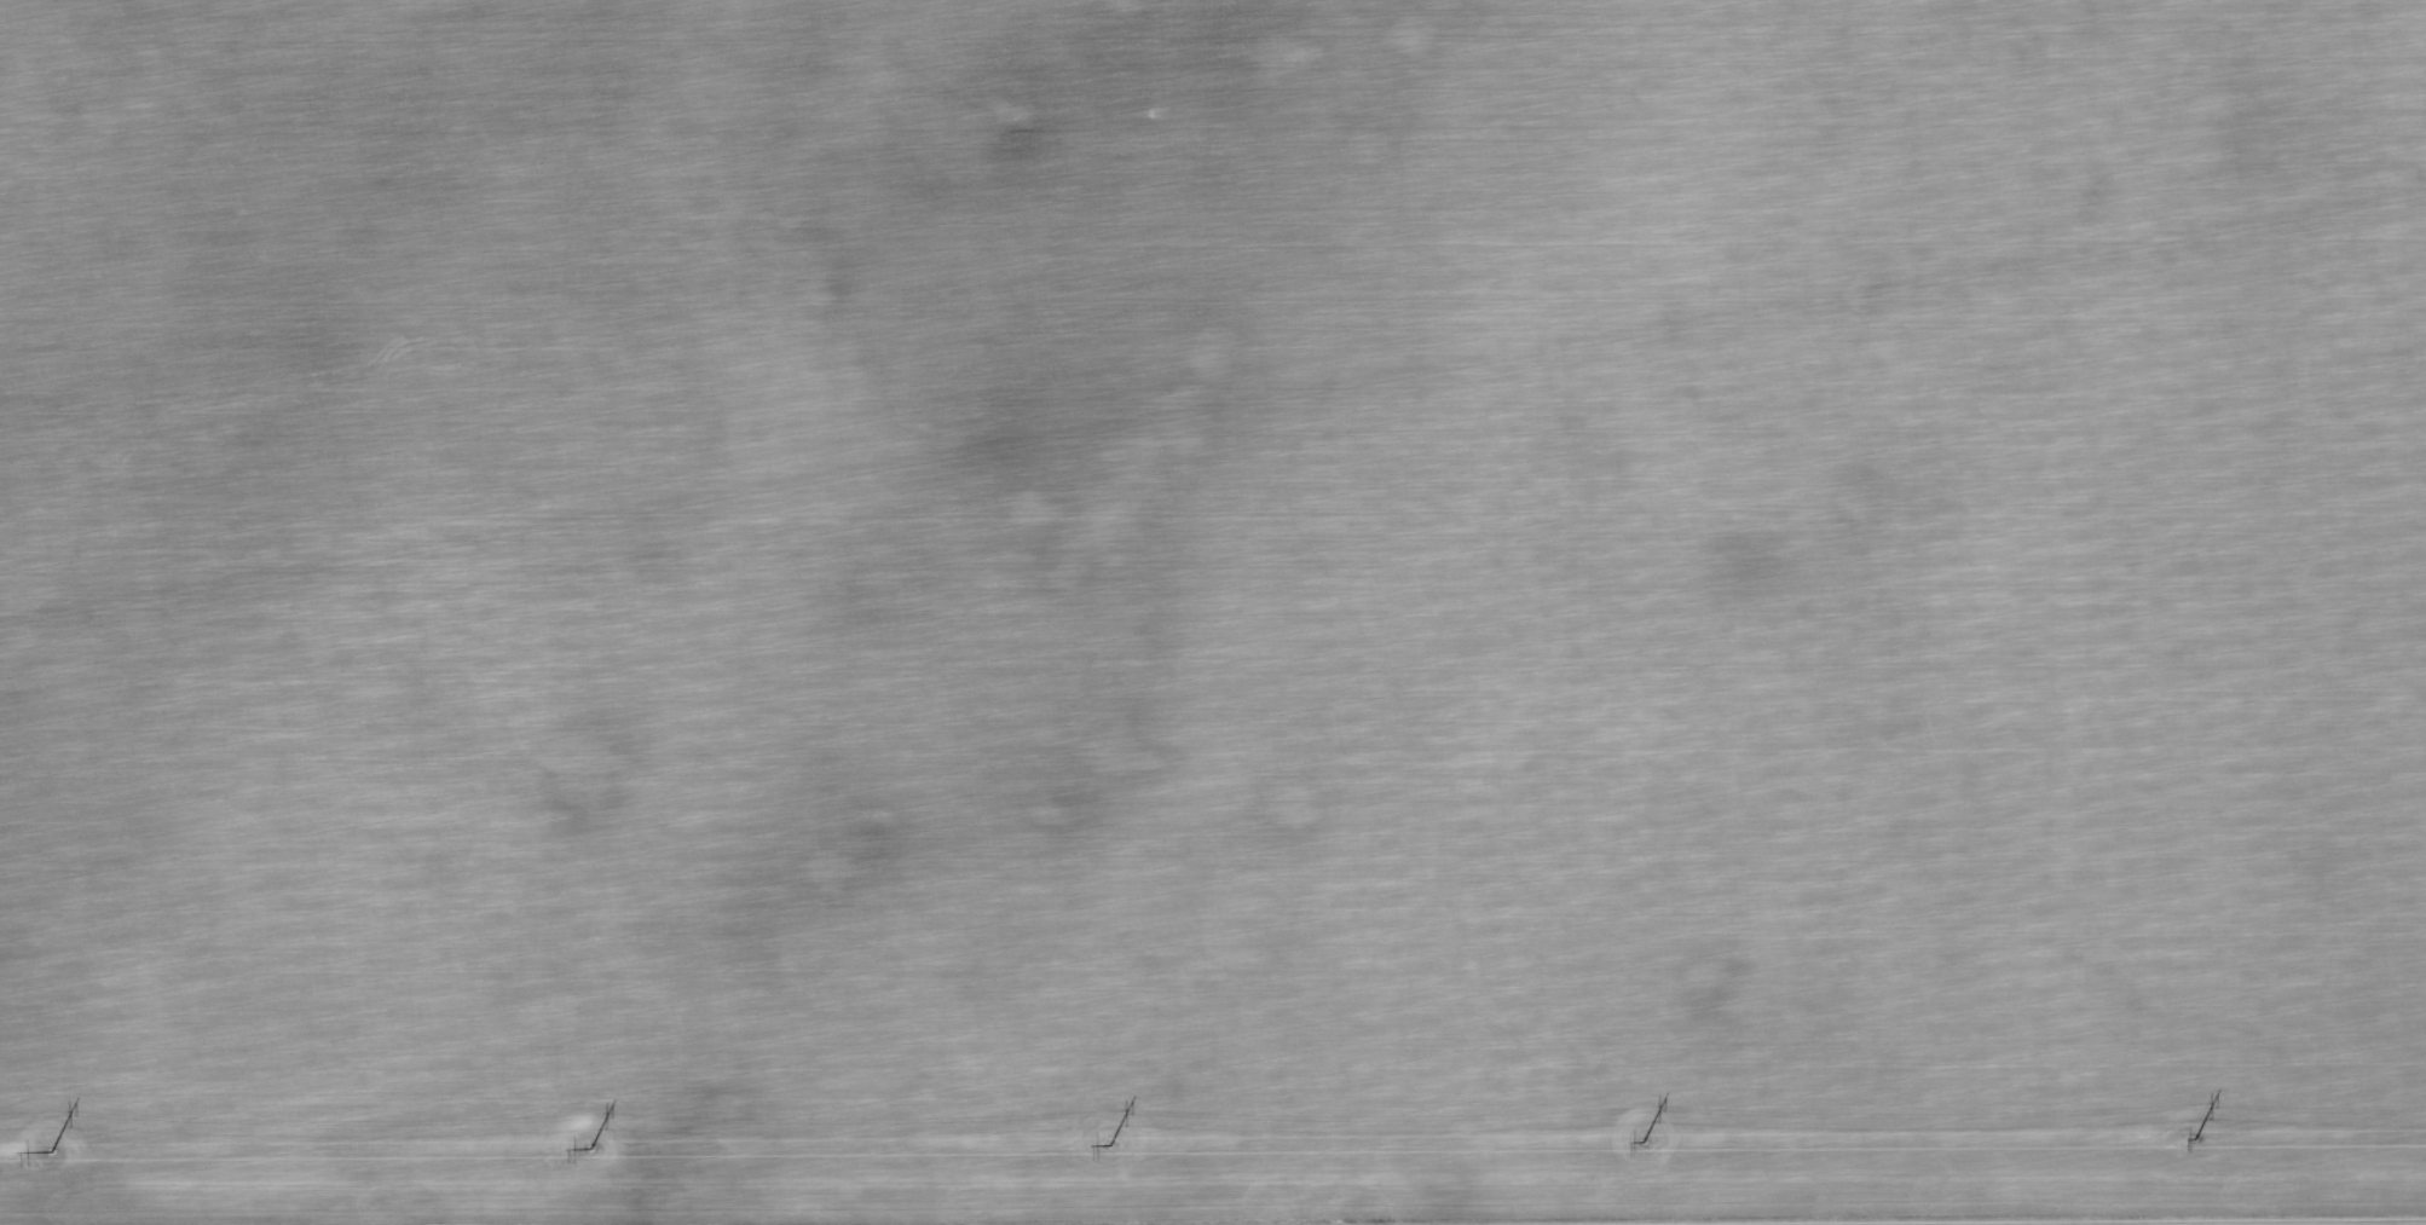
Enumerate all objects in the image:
power tower: (2193, 1139)
power tower: (1640, 1143)
power tower: (1107, 1145)
power tower: (589, 1149)
power tower: (50, 1151)

